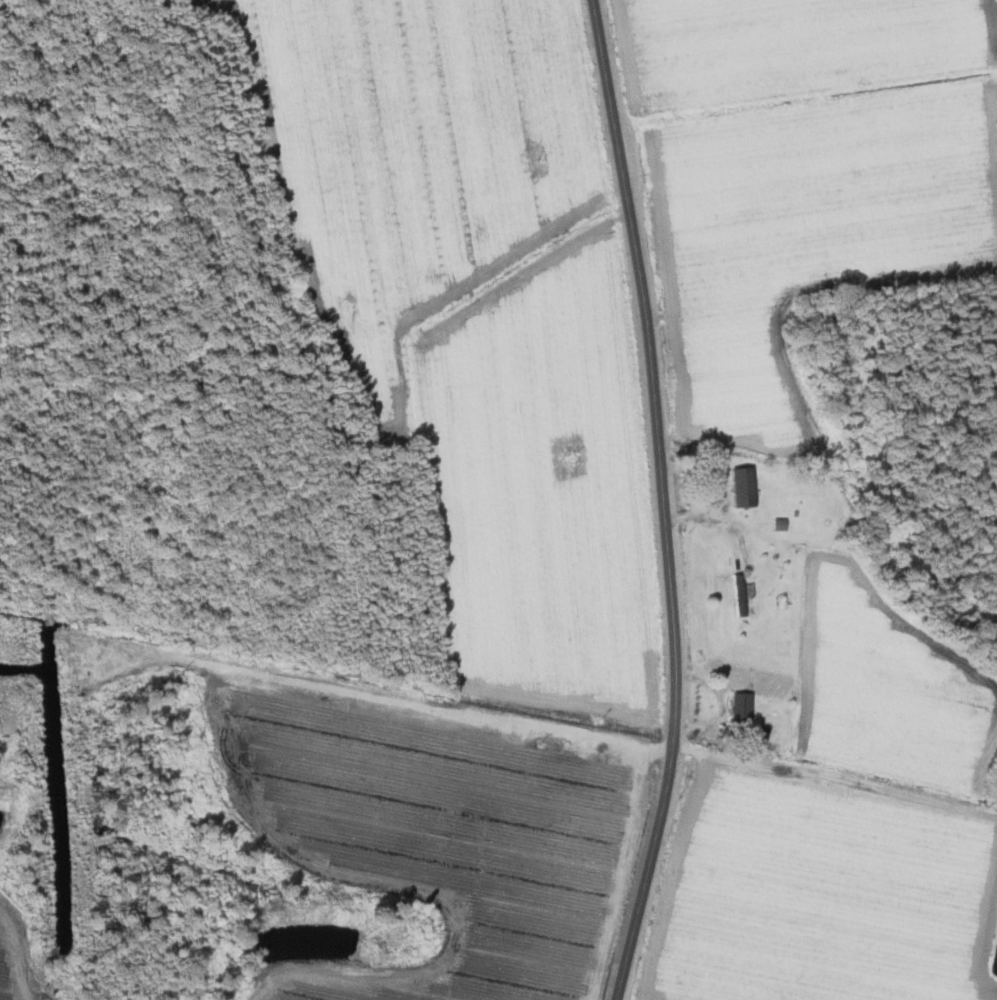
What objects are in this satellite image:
building: (740, 485)
road: (663, 500)
building: (738, 705)

